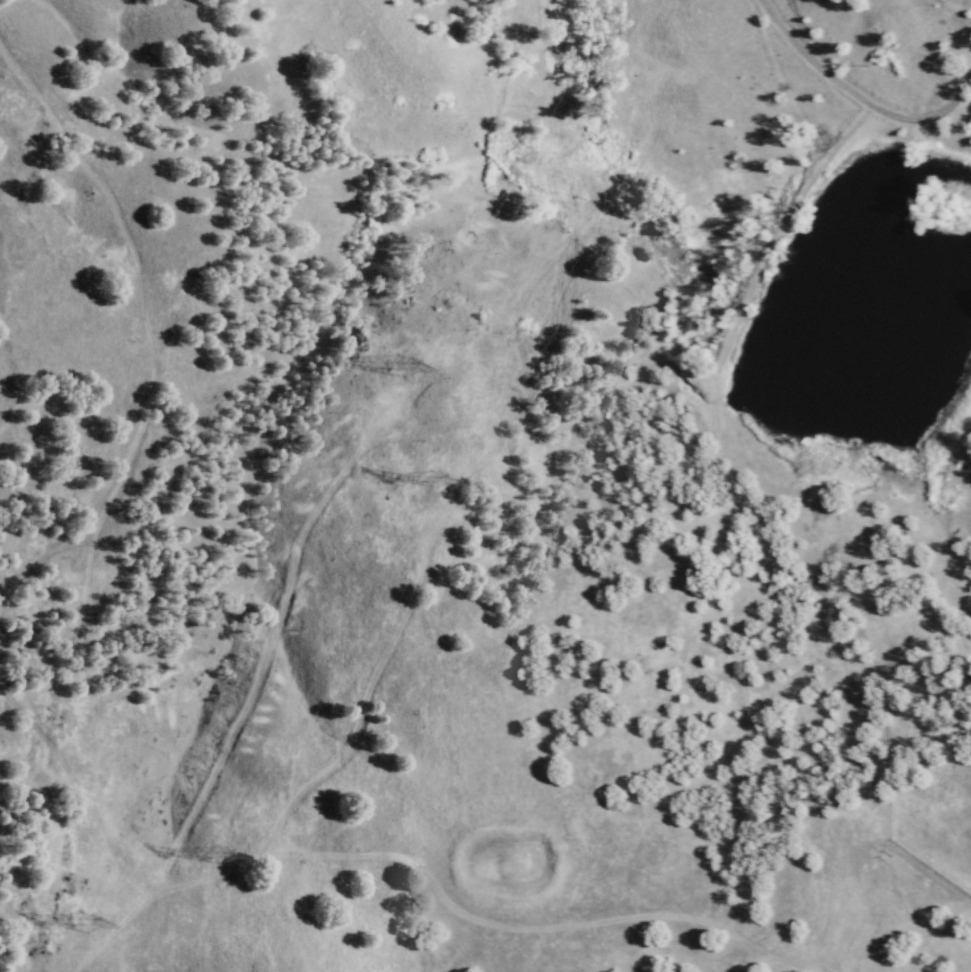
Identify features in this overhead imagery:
road: (856, 95)
road: (134, 267)
power tower: (400, 362)
power tower: (432, 476)
road: (43, 554)
road: (80, 790)
power tower: (217, 852)
road: (473, 914)
power tower: (79, 922)

